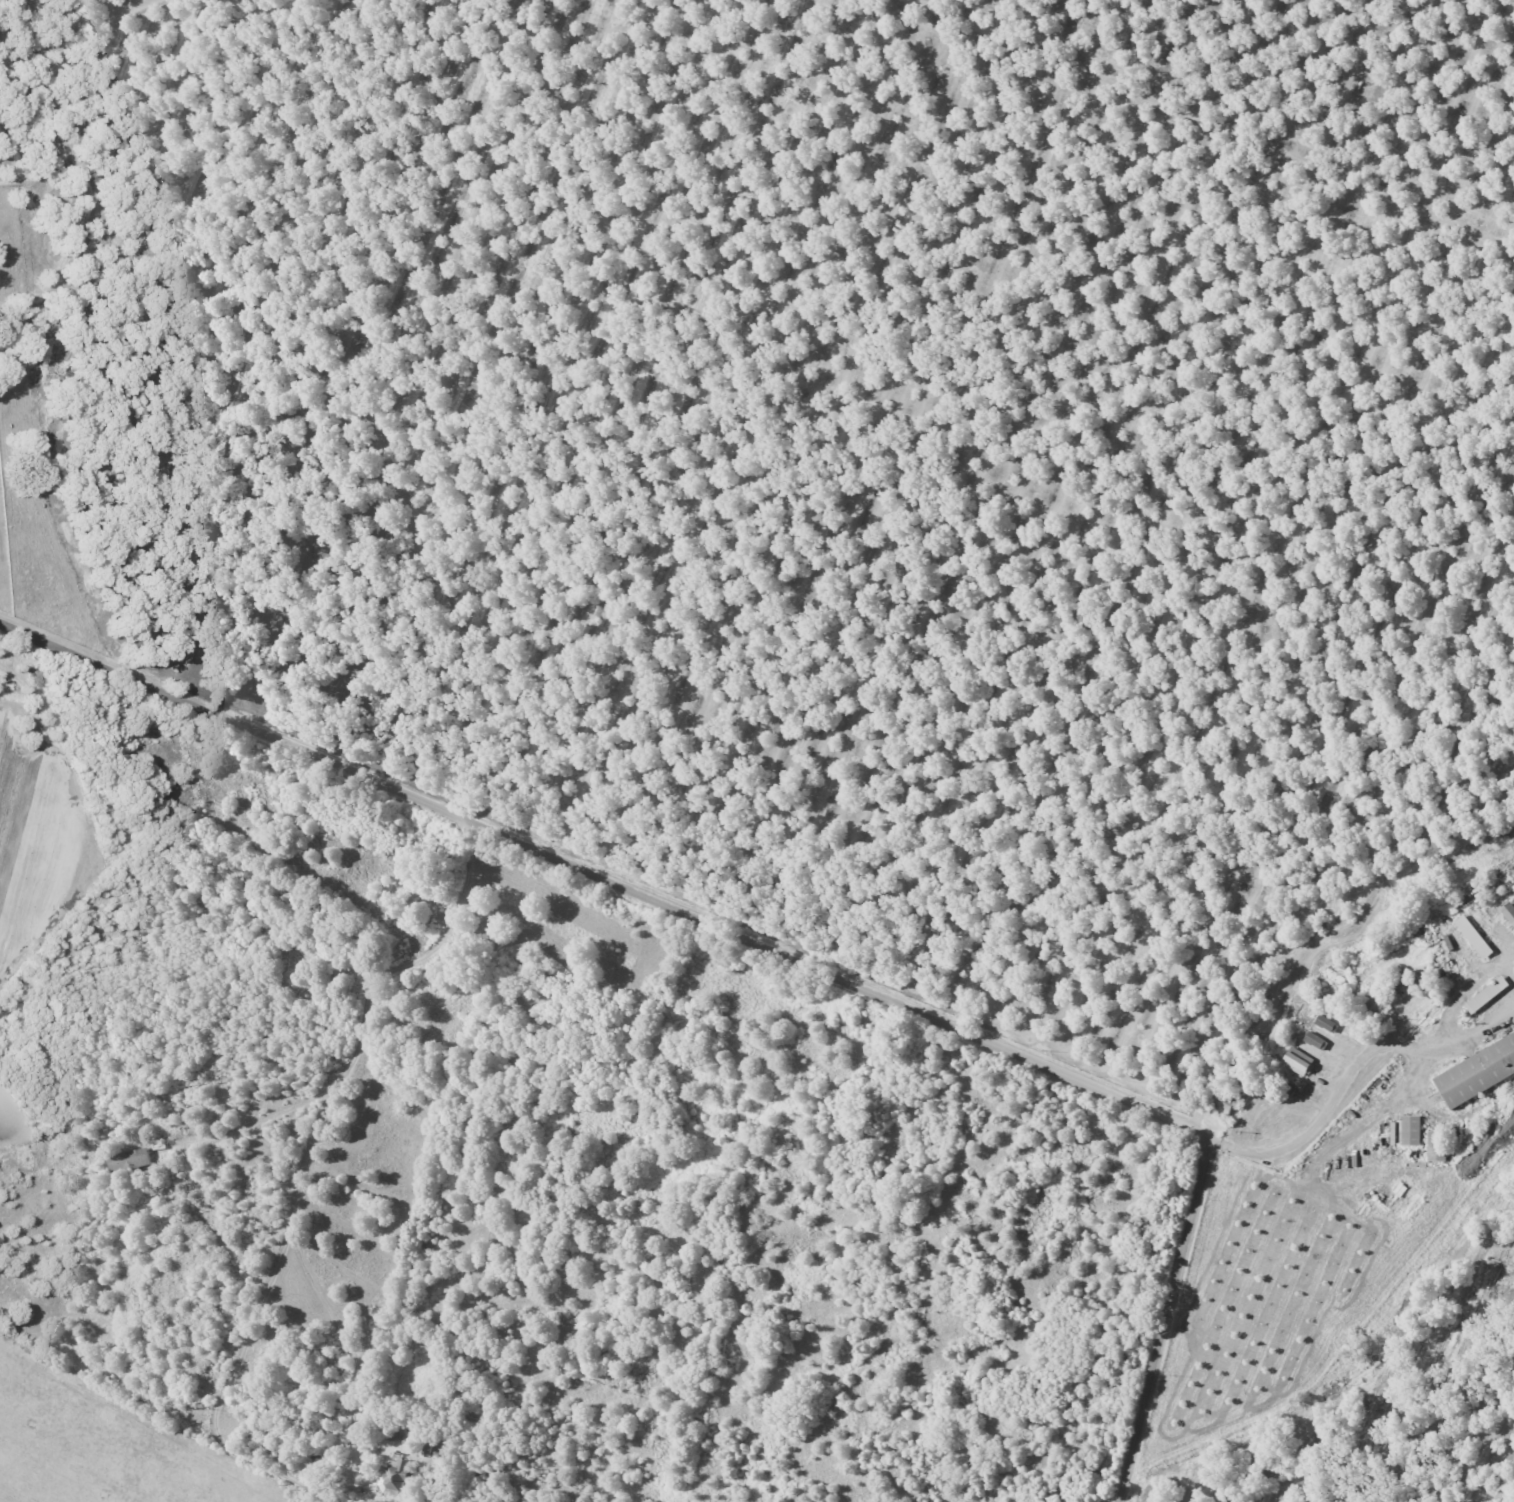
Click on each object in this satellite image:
road: (74, 32)
road: (1210, 125)
building: (1475, 936)
road: (774, 952)
building: (1488, 994)
building: (1315, 1040)
building: (1299, 1062)
building: (1478, 1072)
road: (1348, 1078)
road: (259, 1122)
building: (1413, 1129)
building: (1438, 1145)
building: (129, 1160)
road: (304, 1161)
road: (140, 1426)

